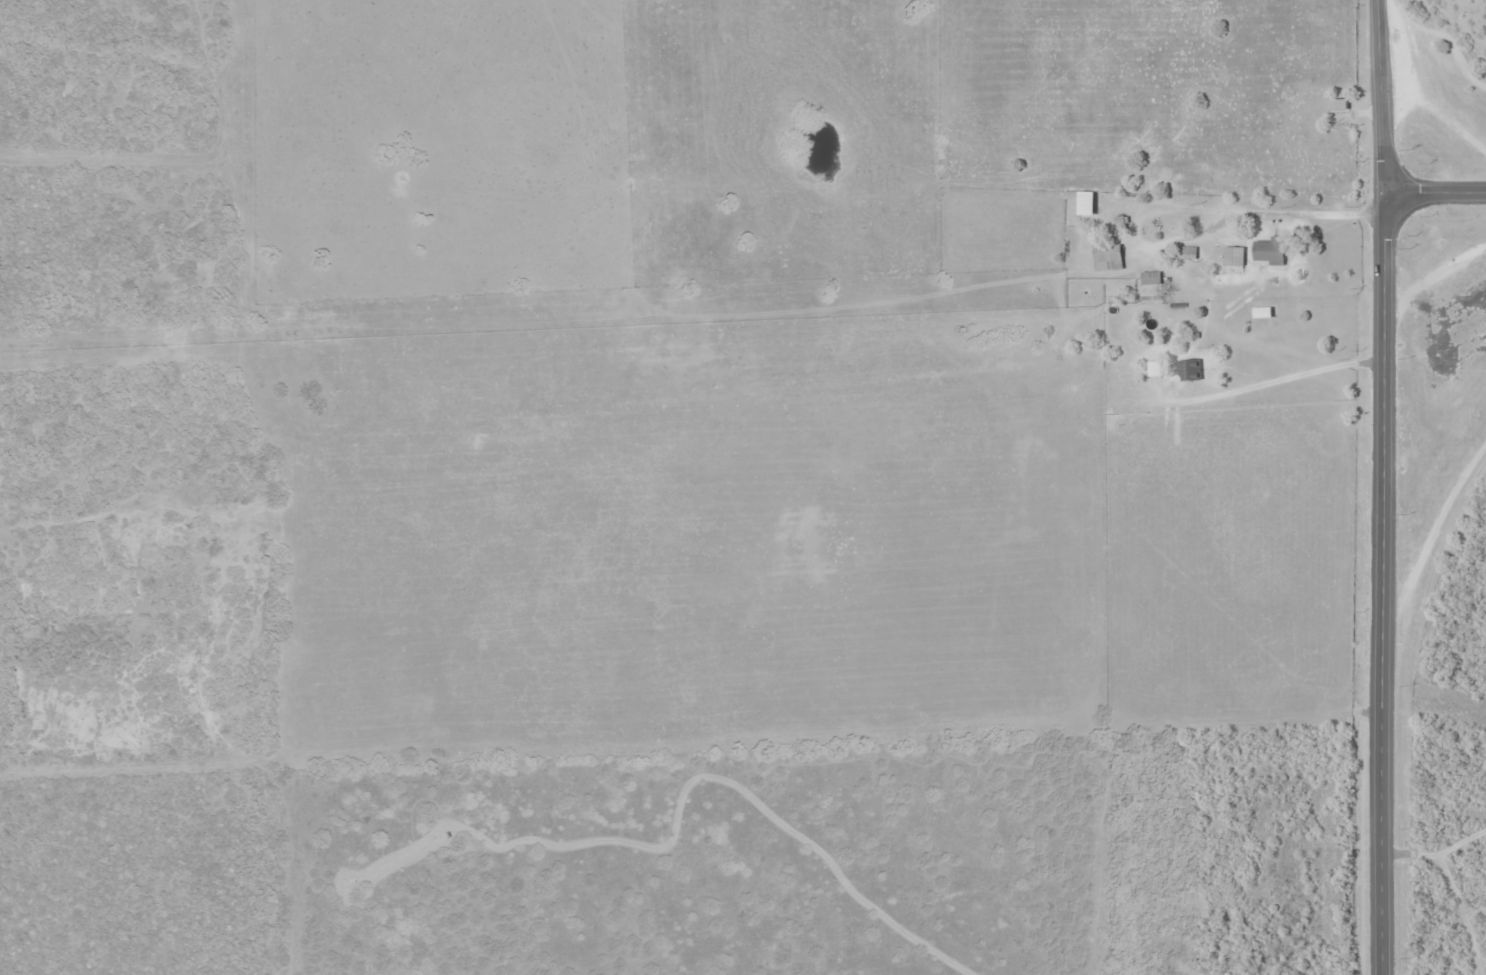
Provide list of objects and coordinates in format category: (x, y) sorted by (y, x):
road: (1381, 98)
building: (1337, 104)
road: (1433, 191)
building: (1269, 249)
building: (1187, 251)
building: (1107, 253)
building: (1233, 255)
building: (1154, 367)
building: (1188, 368)
road: (1381, 440)
road: (1421, 556)
road: (1377, 829)

